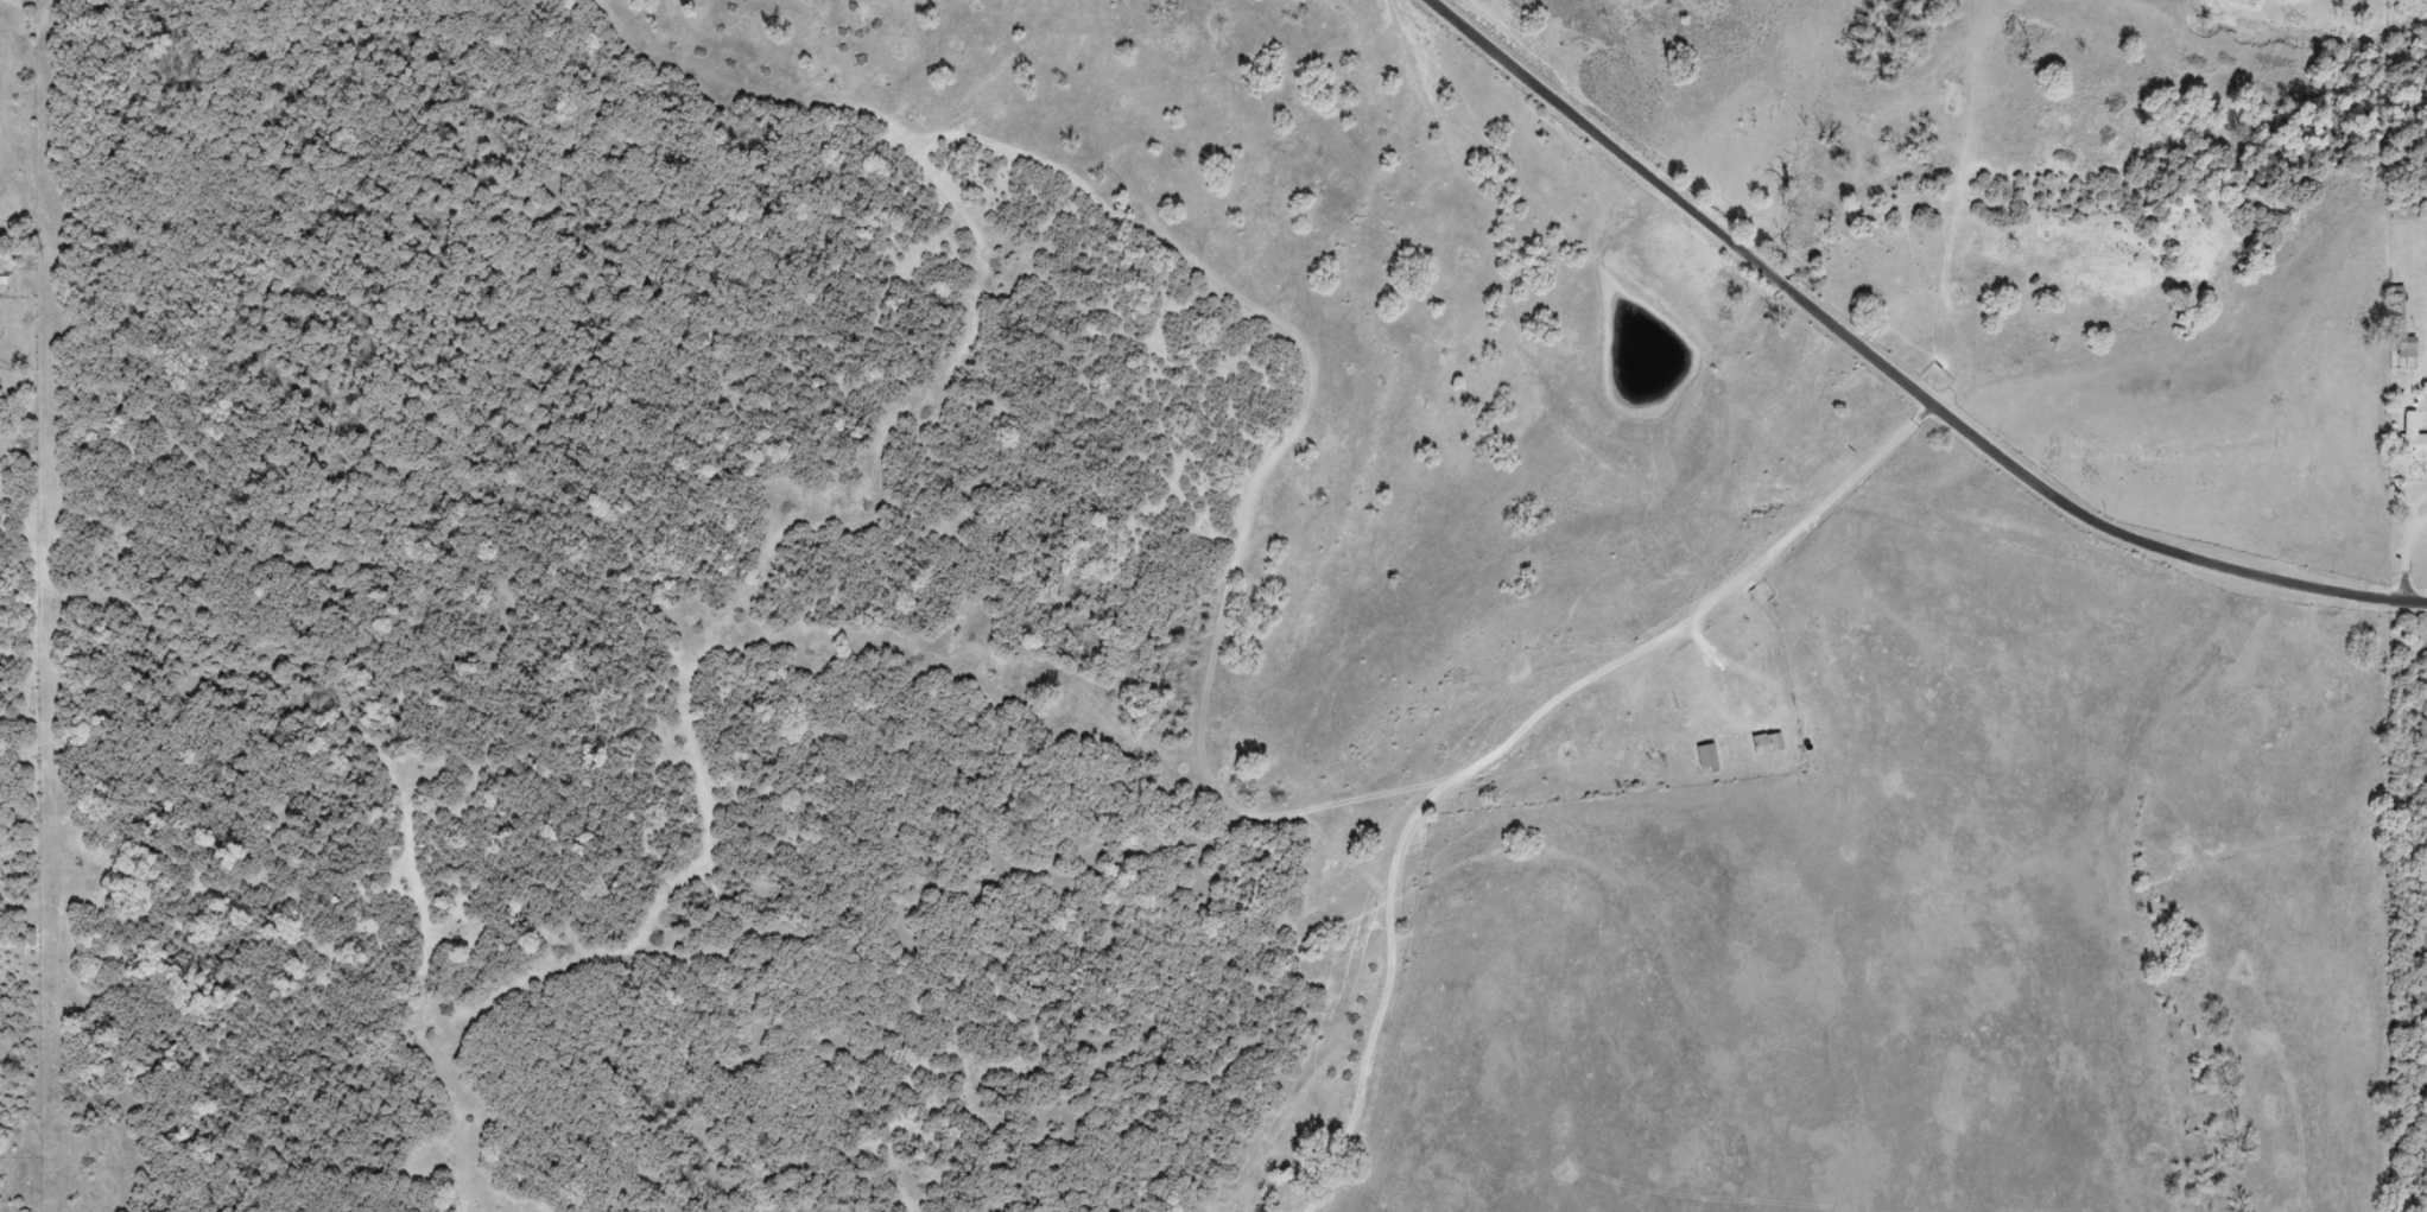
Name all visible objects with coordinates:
building: (2404, 349)
road: (2426, 362)
road: (1894, 372)
road: (1927, 414)
building: (2412, 440)
road: (2407, 556)
road: (1753, 728)
building: (1768, 745)
road: (1503, 748)
building: (1707, 760)

